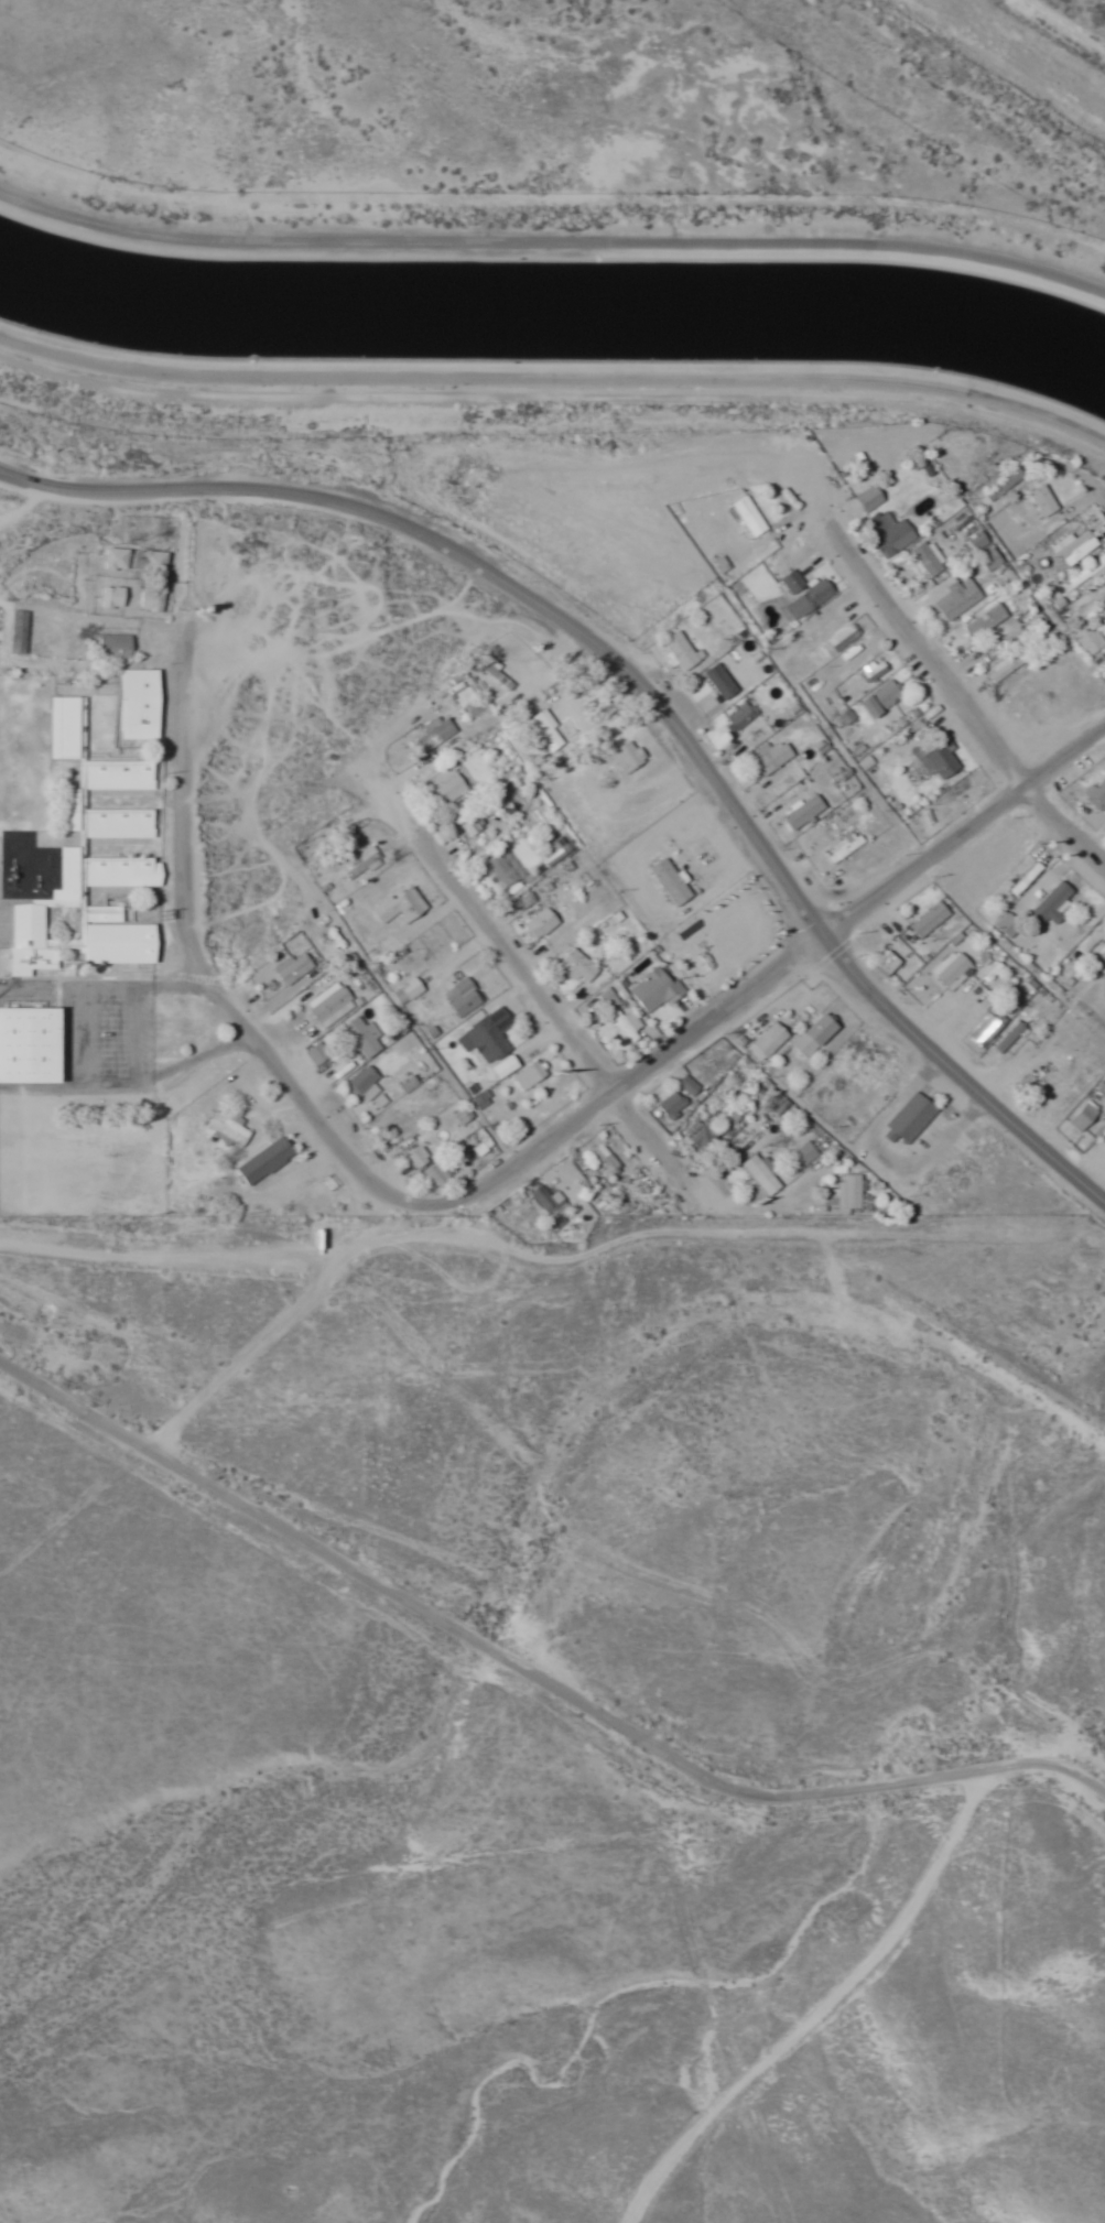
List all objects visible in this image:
road: (551, 240)
road: (554, 393)
road: (90, 488)
building: (996, 488)
road: (1103, 491)
building: (865, 499)
building: (1037, 501)
building: (746, 516)
building: (886, 536)
building: (974, 541)
building: (1104, 550)
building: (108, 557)
building: (149, 560)
building: (986, 560)
building: (923, 561)
building: (1084, 570)
building: (789, 583)
building: (108, 598)
building: (955, 598)
building: (805, 600)
road: (737, 607)
building: (981, 621)
building: (14, 632)
building: (835, 641)
building: (1088, 642)
building: (111, 647)
building: (674, 651)
building: (735, 662)
building: (1003, 668)
building: (490, 673)
building: (866, 674)
building: (707, 688)
road: (962, 696)
building: (875, 700)
building: (133, 704)
building: (737, 716)
road: (675, 726)
building: (541, 731)
building: (431, 736)
building: (621, 757)
building: (768, 759)
building: (936, 762)
building: (833, 766)
building: (441, 788)
building: (1095, 795)
building: (955, 800)
building: (90, 810)
building: (466, 823)
building: (841, 847)
building: (356, 863)
building: (497, 870)
building: (1021, 878)
building: (1050, 901)
building: (393, 906)
building: (924, 920)
building: (535, 923)
building: (1091, 937)
building: (72, 939)
building: (961, 939)
road: (790, 959)
building: (881, 964)
building: (576, 966)
building: (286, 967)
building: (949, 970)
road: (218, 987)
building: (407, 988)
building: (651, 989)
building: (458, 998)
building: (326, 1006)
road: (560, 1022)
building: (621, 1023)
building: (983, 1029)
building: (485, 1035)
building: (810, 1035)
building: (358, 1037)
building: (1006, 1038)
building: (766, 1042)
building: (24, 1044)
building: (858, 1053)
building: (527, 1074)
building: (686, 1085)
building: (364, 1088)
building: (1058, 1095)
building: (669, 1106)
building: (908, 1119)
building: (225, 1128)
building: (698, 1138)
building: (477, 1143)
building: (800, 1156)
building: (414, 1157)
building: (600, 1159)
building: (260, 1162)
building: (757, 1174)
building: (432, 1175)
road: (1075, 1176)
building: (842, 1193)
building: (539, 1197)
road: (75, 1407)
road: (75, 1520)
road: (607, 1721)

